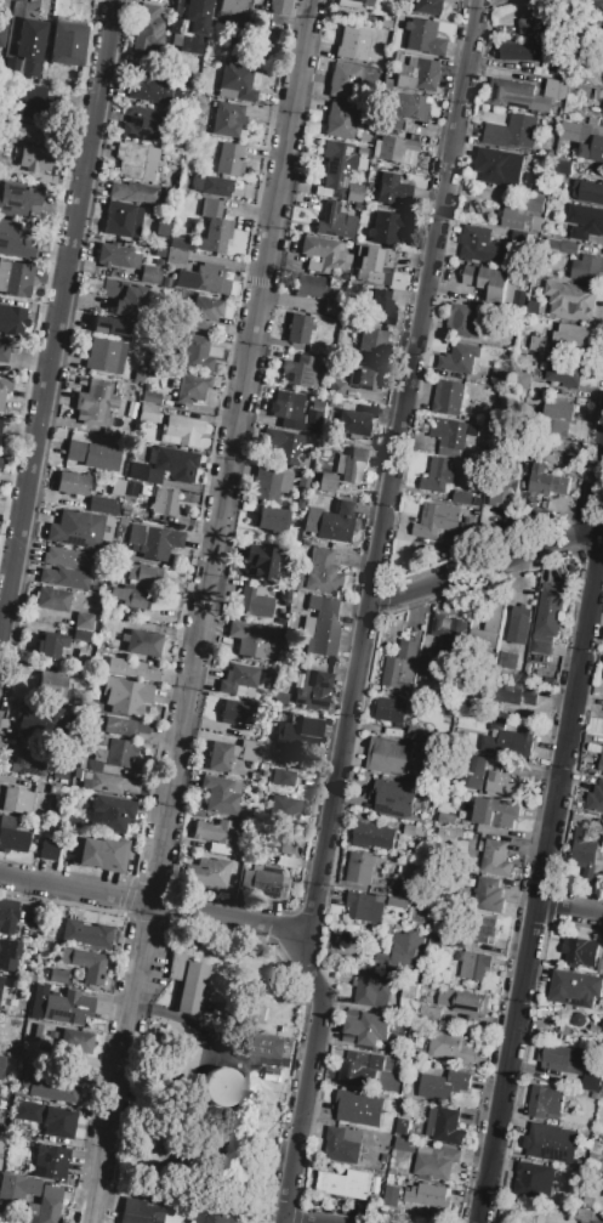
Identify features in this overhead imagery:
building: (255, 4)
building: (354, 4)
building: (232, 6)
building: (278, 6)
building: (426, 6)
building: (385, 22)
building: (190, 23)
building: (534, 23)
building: (148, 29)
building: (1, 35)
building: (423, 36)
building: (66, 41)
building: (352, 43)
building: (30, 45)
building: (520, 52)
building: (602, 67)
building: (561, 69)
building: (417, 74)
building: (342, 79)
building: (235, 81)
building: (157, 89)
building: (524, 95)
building: (201, 98)
building: (39, 103)
building: (409, 106)
building: (602, 111)
building: (226, 118)
building: (340, 120)
building: (141, 123)
building: (391, 124)
building: (28, 132)
building: (512, 134)
building: (176, 137)
building: (363, 137)
building: (582, 140)
building: (552, 145)
building: (392, 148)
building: (360, 151)
building: (35, 158)
building: (229, 159)
building: (133, 163)
building: (336, 164)
building: (500, 166)
building: (563, 168)
building: (182, 180)
building: (216, 186)
building: (541, 186)
building: (391, 187)
building: (493, 191)
building: (133, 192)
building: (353, 192)
building: (588, 192)
building: (18, 198)
building: (525, 216)
building: (123, 220)
building: (334, 221)
building: (586, 221)
building: (192, 225)
building: (212, 227)
building: (383, 227)
building: (161, 230)
building: (15, 242)
building: (177, 242)
building: (480, 247)
building: (563, 247)
building: (159, 253)
building: (324, 255)
building: (116, 256)
building: (197, 257)
building: (175, 261)
building: (372, 265)
building: (587, 268)
building: (150, 274)
building: (15, 278)
building: (210, 279)
building: (166, 282)
building: (493, 283)
building: (309, 285)
building: (109, 288)
building: (154, 290)
building: (166, 294)
building: (571, 301)
building: (130, 302)
building: (383, 305)
building: (331, 308)
building: (204, 311)
road: (57, 313)
building: (12, 317)
building: (466, 321)
building: (110, 325)
building: (298, 328)
building: (571, 336)
building: (372, 340)
building: (539, 345)
building: (4, 352)
building: (197, 353)
building: (104, 356)
building: (466, 358)
building: (302, 370)
building: (565, 374)
building: (364, 378)
building: (522, 381)
building: (192, 387)
building: (335, 387)
building: (4, 391)
building: (149, 396)
building: (449, 398)
building: (95, 402)
building: (315, 402)
building: (331, 403)
building: (286, 404)
building: (147, 413)
building: (559, 418)
building: (355, 420)
building: (311, 424)
building: (0, 425)
building: (184, 430)
building: (450, 436)
building: (0, 438)
building: (283, 446)
building: (93, 455)
building: (0, 457)
building: (0, 460)
building: (176, 463)
building: (352, 464)
building: (137, 470)
building: (439, 476)
building: (72, 482)
building: (301, 482)
building: (325, 482)
building: (547, 482)
building: (268, 483)
building: (504, 492)
building: (462, 498)
building: (164, 502)
building: (298, 503)
building: (99, 504)
building: (436, 521)
building: (331, 522)
building: (274, 523)
building: (75, 530)
building: (467, 530)
building: (153, 540)
building: (303, 543)
building: (67, 557)
building: (261, 561)
road: (485, 566)
building: (323, 570)
building: (144, 573)
building: (64, 578)
building: (113, 578)
building: (296, 581)
building: (130, 595)
building: (52, 599)
building: (249, 601)
road: (199, 611)
road: (368, 613)
building: (547, 619)
building: (83, 621)
building: (108, 622)
building: (323, 624)
building: (519, 624)
building: (489, 627)
building: (450, 634)
building: (80, 635)
building: (246, 638)
building: (141, 642)
building: (51, 645)
building: (97, 656)
building: (508, 661)
building: (402, 667)
building: (131, 668)
building: (430, 668)
building: (50, 679)
building: (238, 680)
building: (312, 689)
building: (517, 695)
building: (125, 696)
building: (393, 710)
building: (237, 712)
building: (39, 720)
building: (125, 729)
building: (307, 729)
building: (417, 734)
building: (507, 742)
building: (250, 751)
building: (109, 754)
building: (220, 755)
building: (30, 757)
building: (66, 757)
building: (392, 759)
building: (601, 763)
building: (473, 772)
building: (281, 776)
building: (108, 785)
building: (505, 785)
building: (218, 795)
building: (396, 798)
building: (595, 799)
building: (16, 800)
building: (283, 810)
building: (497, 812)
building: (109, 814)
building: (448, 819)
building: (414, 831)
building: (212, 834)
building: (12, 836)
building: (374, 837)
building: (277, 845)
road: (548, 847)
building: (47, 850)
building: (99, 851)
building: (587, 853)
building: (495, 859)
building: (286, 861)
building: (362, 868)
building: (206, 871)
building: (262, 883)
building: (410, 893)
building: (489, 896)
road: (153, 904)
building: (365, 907)
building: (8, 915)
road: (569, 918)
building: (478, 933)
building: (85, 934)
building: (580, 951)
building: (405, 952)
building: (8, 953)
building: (85, 963)
building: (473, 966)
building: (41, 974)
building: (57, 975)
building: (0, 981)
building: (187, 983)
building: (574, 989)
building: (374, 991)
building: (410, 991)
building: (27, 993)
building: (465, 1002)
building: (601, 1003)
building: (35, 1004)
building: (23, 1007)
building: (67, 1007)
building: (260, 1014)
building: (430, 1015)
building: (579, 1020)
building: (6, 1027)
building: (368, 1027)
building: (36, 1031)
building: (75, 1041)
building: (266, 1047)
building: (451, 1048)
building: (558, 1059)
building: (1, 1066)
building: (354, 1068)
building: (29, 1074)
building: (274, 1076)
building: (591, 1082)
building: (220, 1086)
building: (443, 1086)
building: (602, 1087)
building: (69, 1092)
building: (30, 1093)
building: (545, 1103)
building: (360, 1109)
building: (27, 1111)
building: (58, 1122)
building: (448, 1127)
building: (1, 1144)
building: (551, 1144)
building: (341, 1148)
building: (593, 1157)
building: (432, 1160)
building: (51, 1161)
building: (0, 1162)
building: (601, 1167)
building: (534, 1179)
building: (346, 1184)
building: (19, 1188)
building: (51, 1190)
building: (416, 1196)
building: (42, 1210)
building: (138, 1211)
building: (218, 1214)
road: (294, 1221)
building: (582, 1222)
building: (595, 1222)

